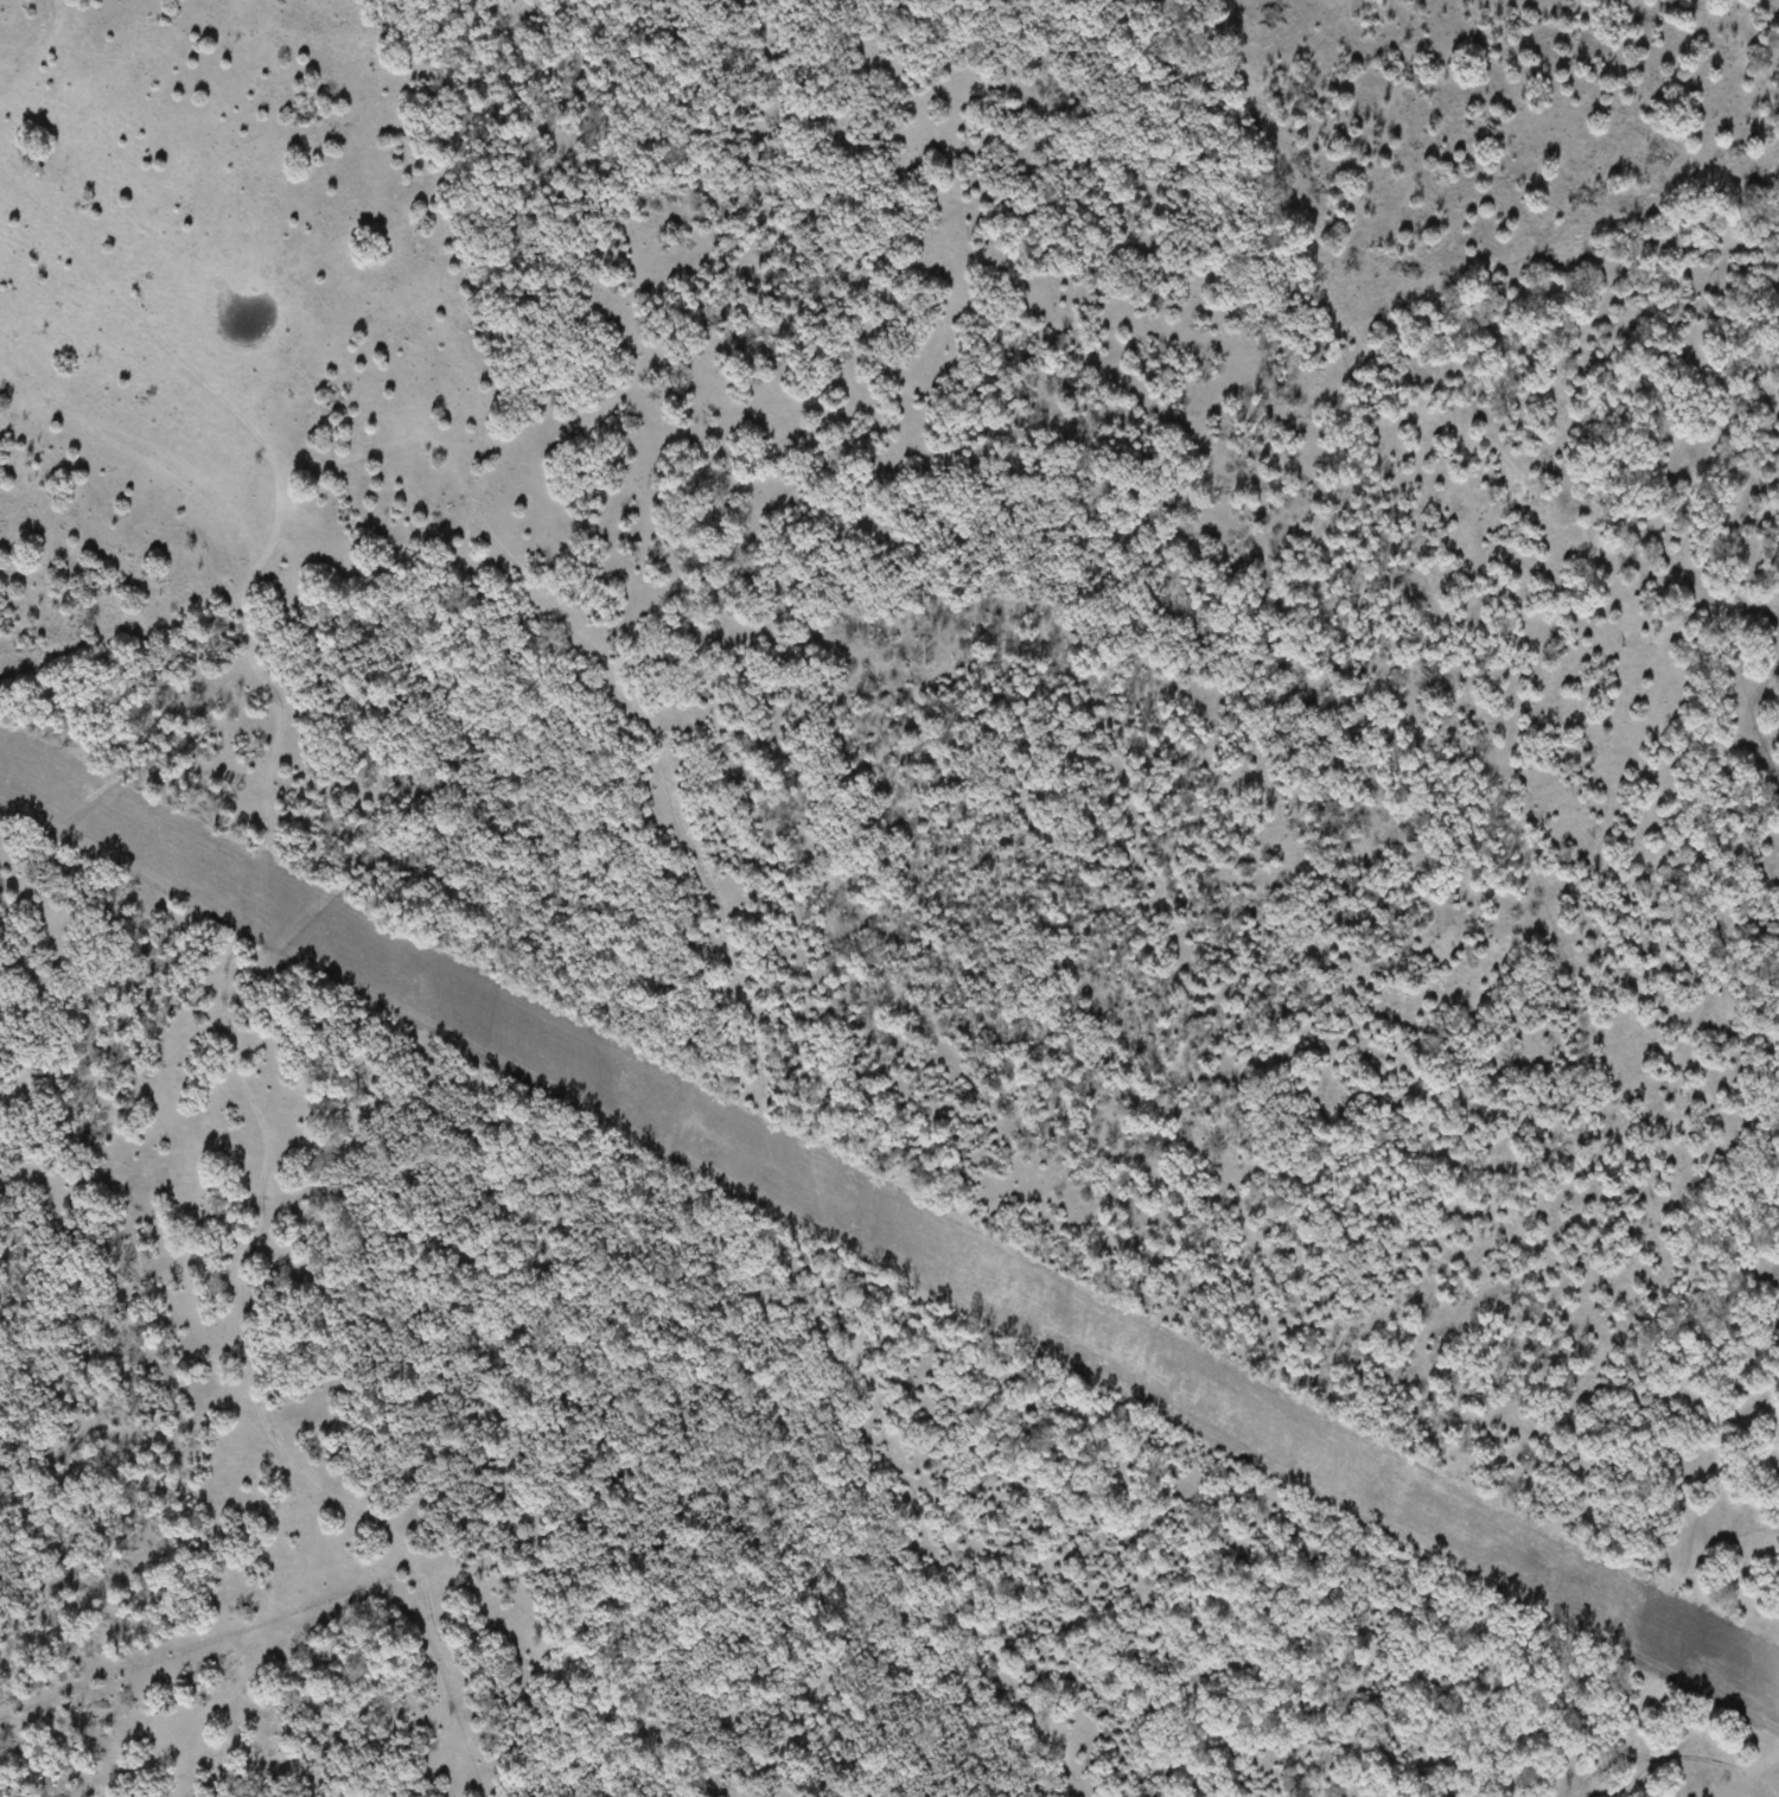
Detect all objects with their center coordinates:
quarry: (1628, 688)

